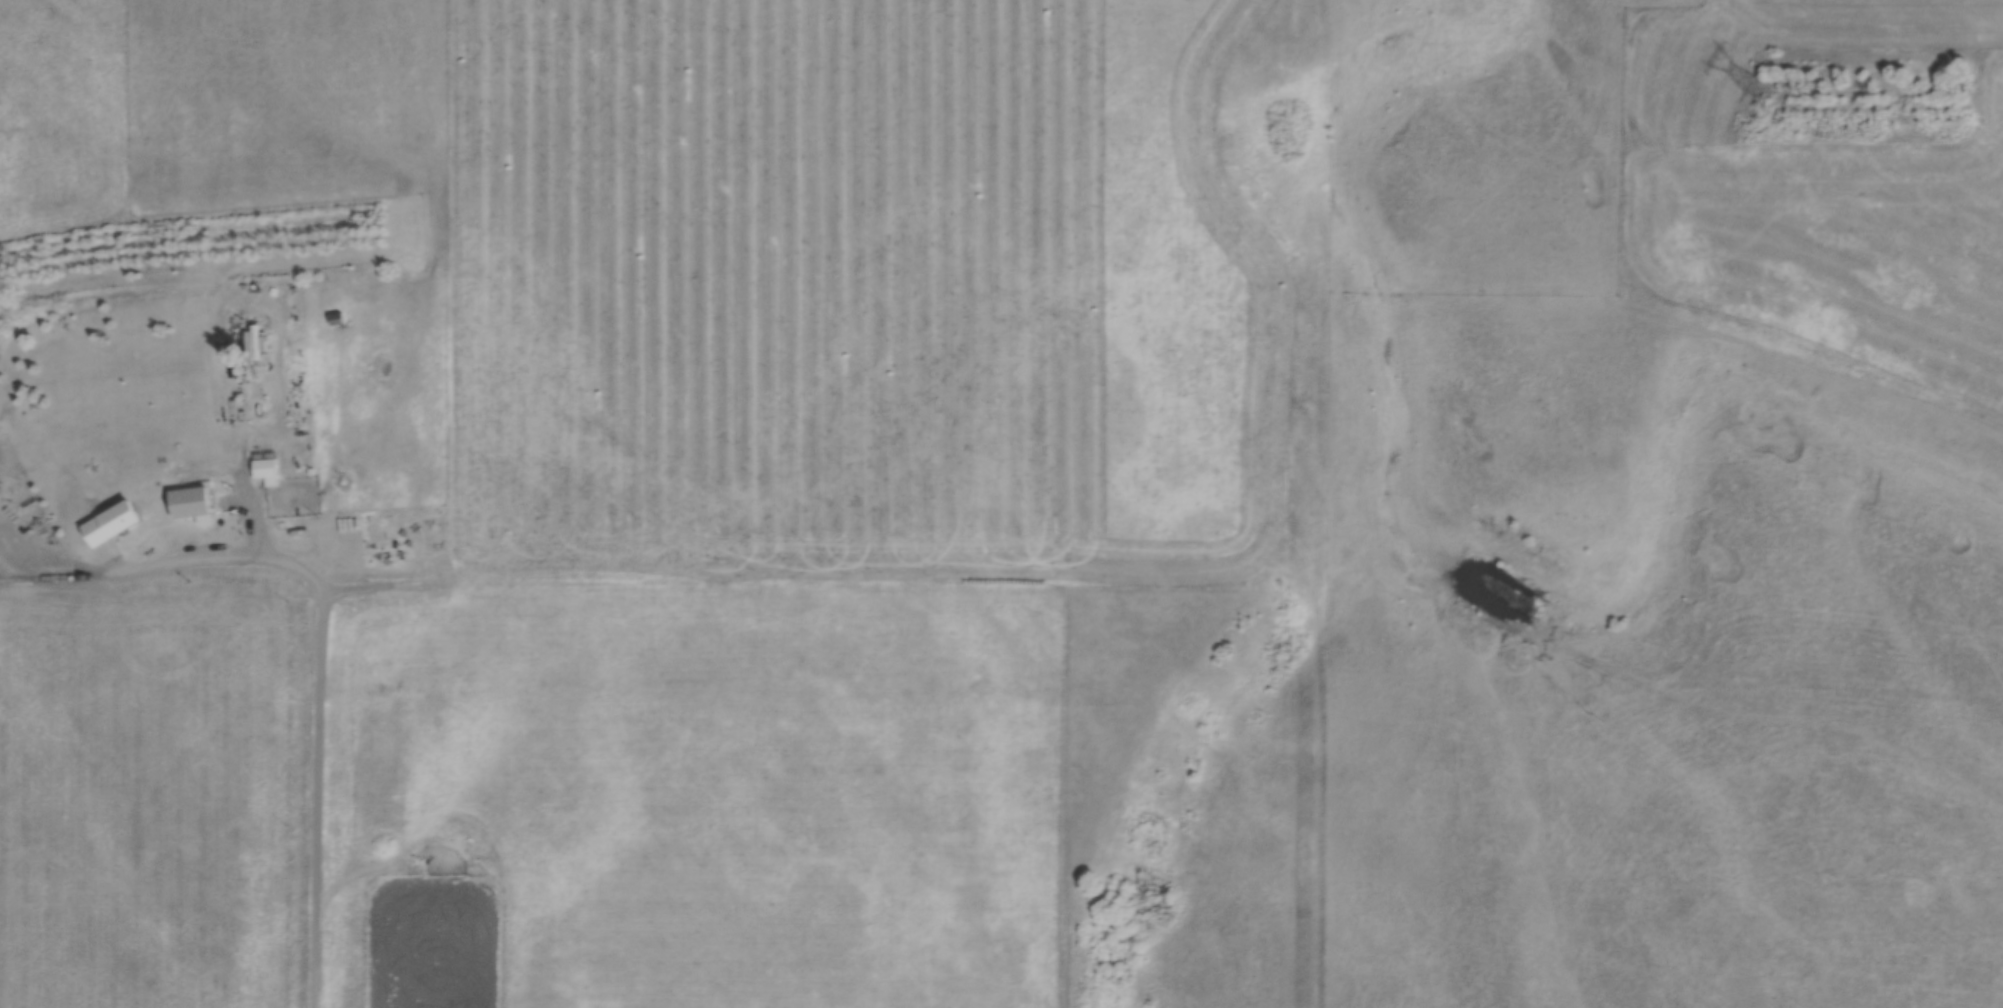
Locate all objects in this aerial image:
power tower: (1767, 101)
building: (335, 318)
building: (264, 467)
building: (189, 503)
road: (1319, 504)
building: (110, 528)
road: (817, 587)
road: (318, 687)

